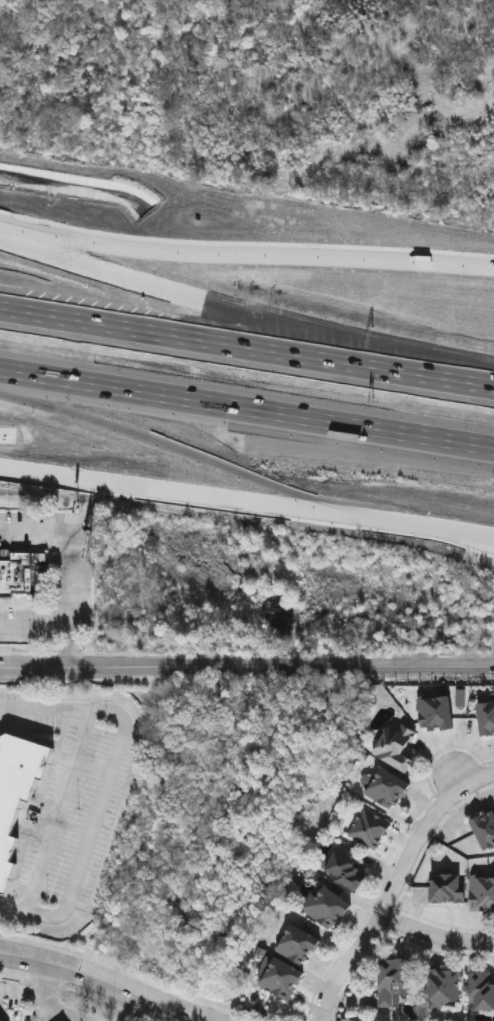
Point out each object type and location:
road: (245, 255)
road: (198, 302)
road: (197, 337)
road: (445, 375)
road: (238, 406)
road: (238, 440)
road: (485, 446)
road: (178, 495)
road: (426, 527)
building: (20, 571)
road: (73, 576)
road: (73, 646)
road: (246, 664)
building: (435, 711)
building: (486, 716)
building: (396, 745)
road: (482, 778)
road: (106, 787)
building: (389, 787)
building: (16, 789)
road: (56, 810)
building: (370, 827)
building: (485, 829)
building: (347, 866)
building: (449, 886)
building: (483, 891)
road: (389, 897)
building: (327, 906)
road: (435, 935)
building: (298, 944)
building: (282, 978)
building: (394, 978)
road: (103, 985)
building: (445, 986)
road: (23, 991)
building: (482, 991)
road: (46, 993)
road: (5, 1012)
road: (62, 1015)
building: (1, 1018)

